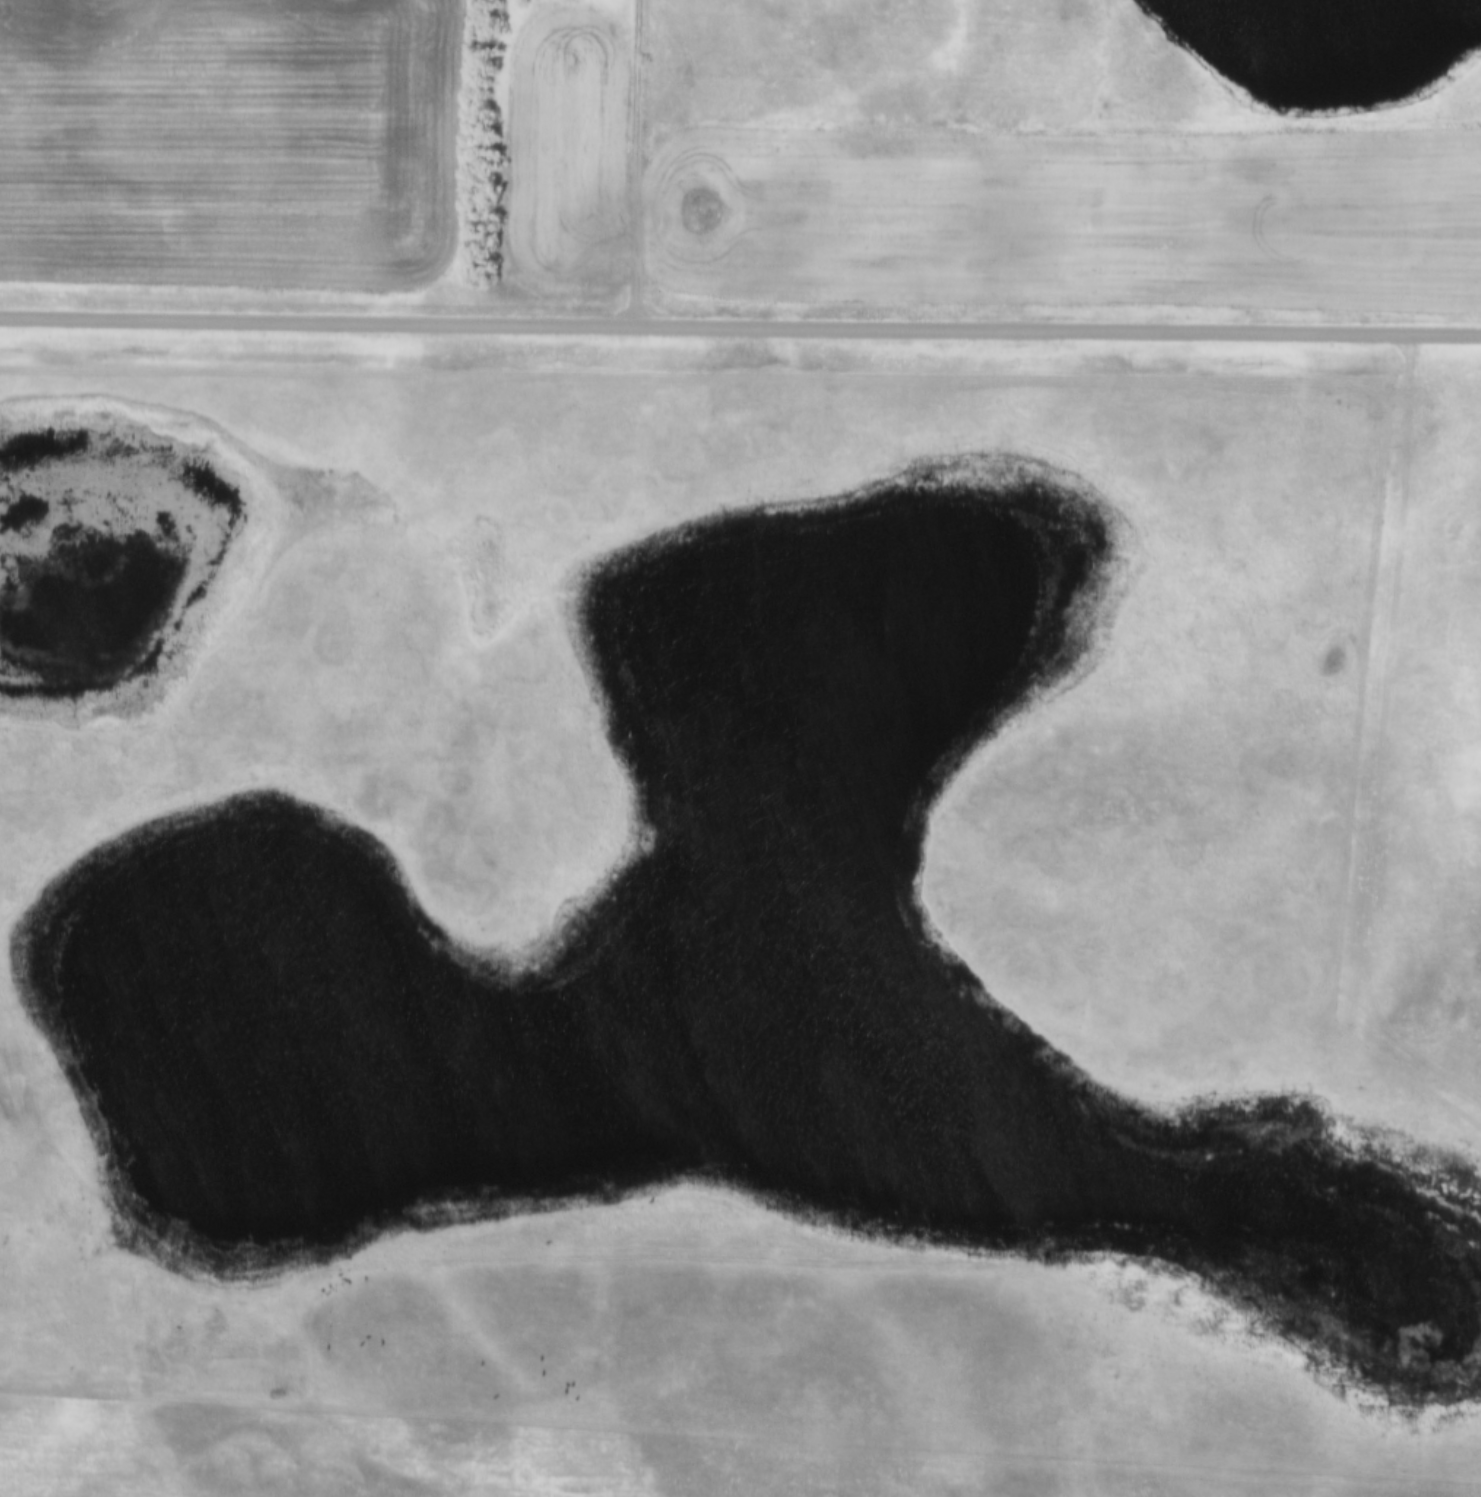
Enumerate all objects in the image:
road: (640, 168)
road: (740, 328)

